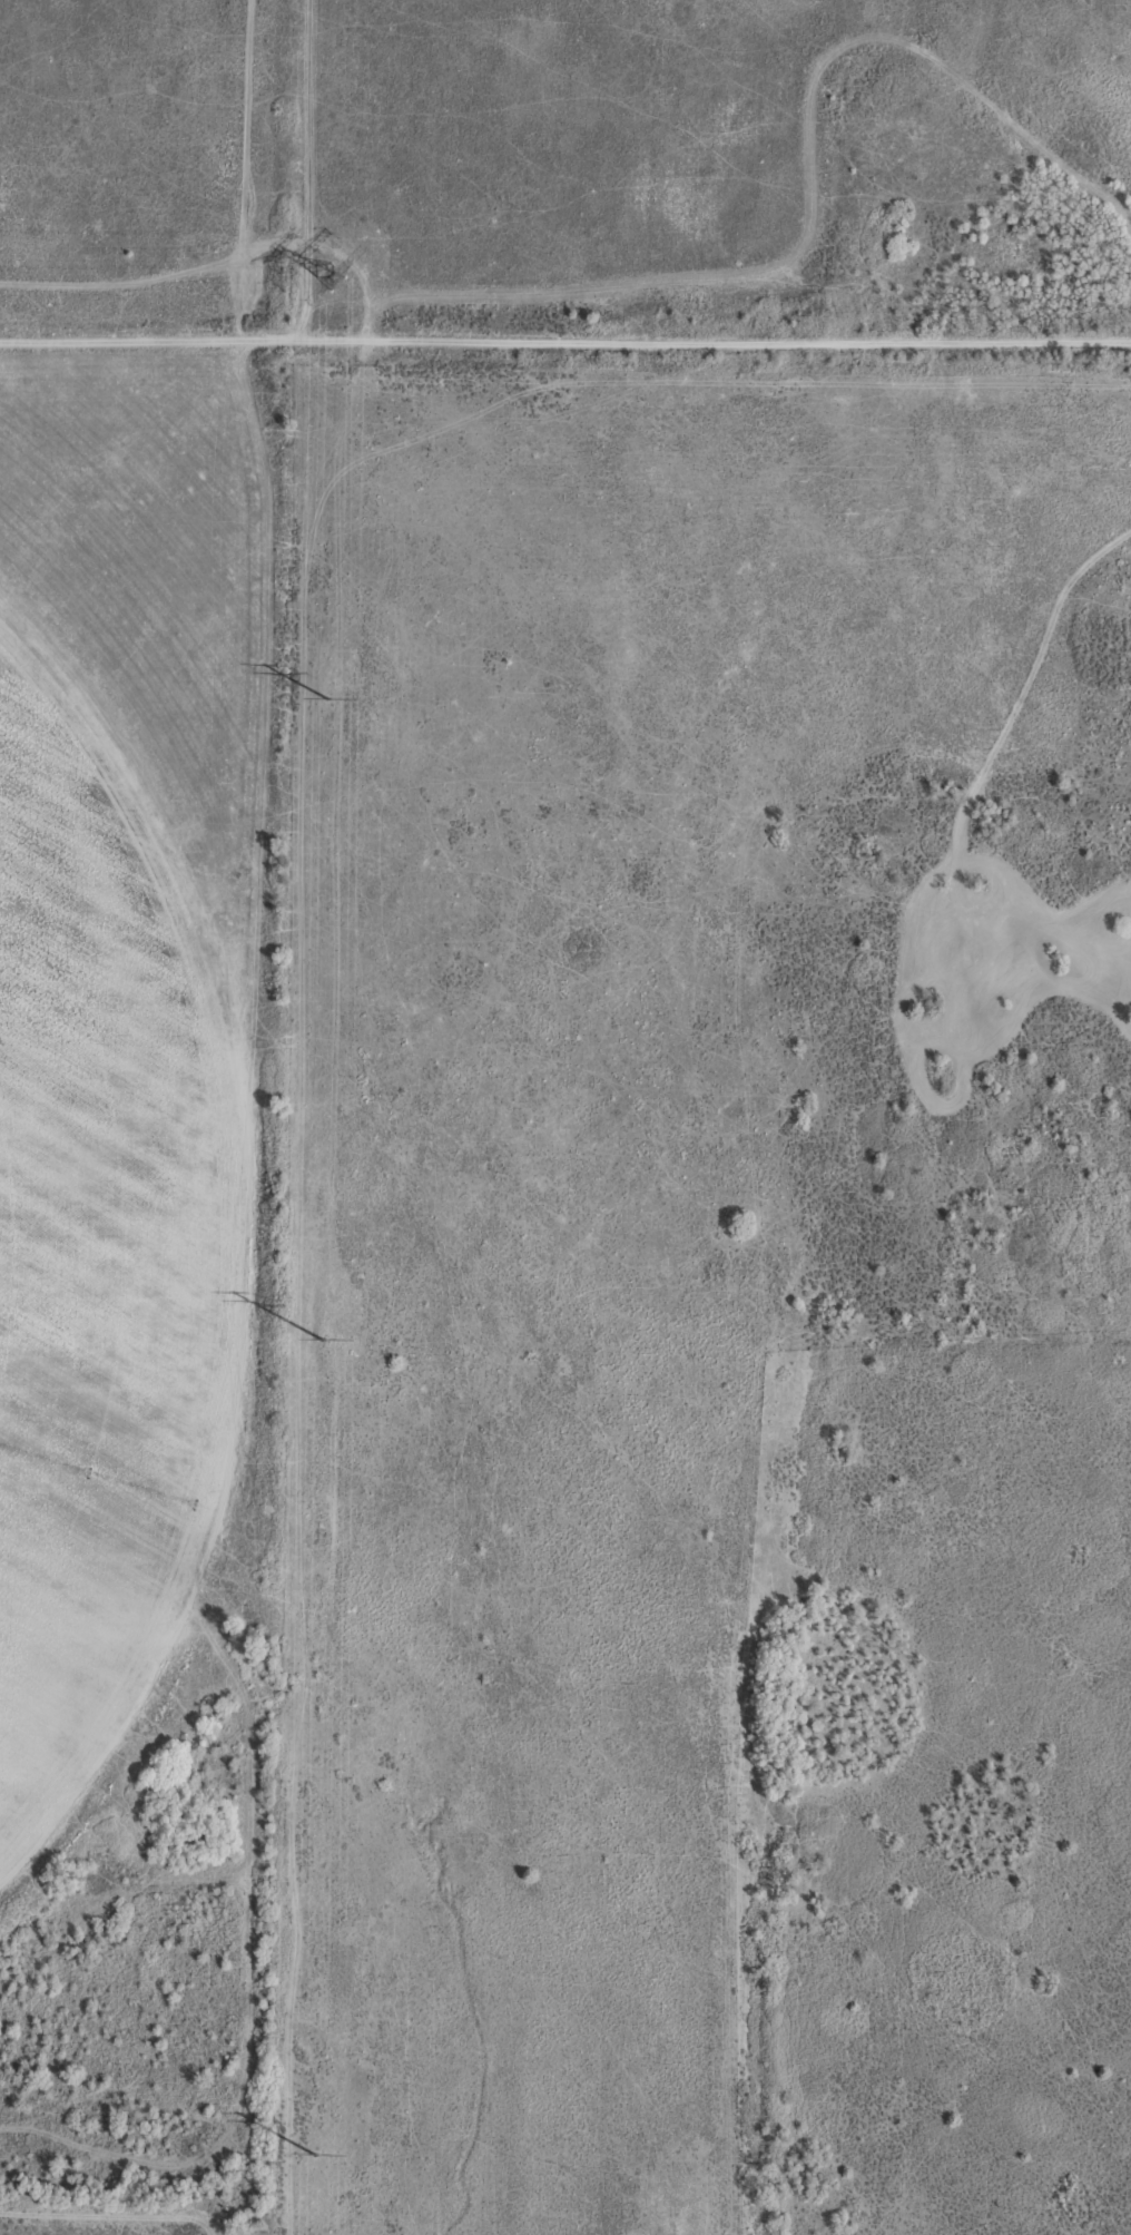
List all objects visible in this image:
power tower: (332, 275)
road: (565, 342)
power tower: (328, 698)
crop: (507, 1254)
power tower: (323, 1337)
power tower: (315, 2153)

